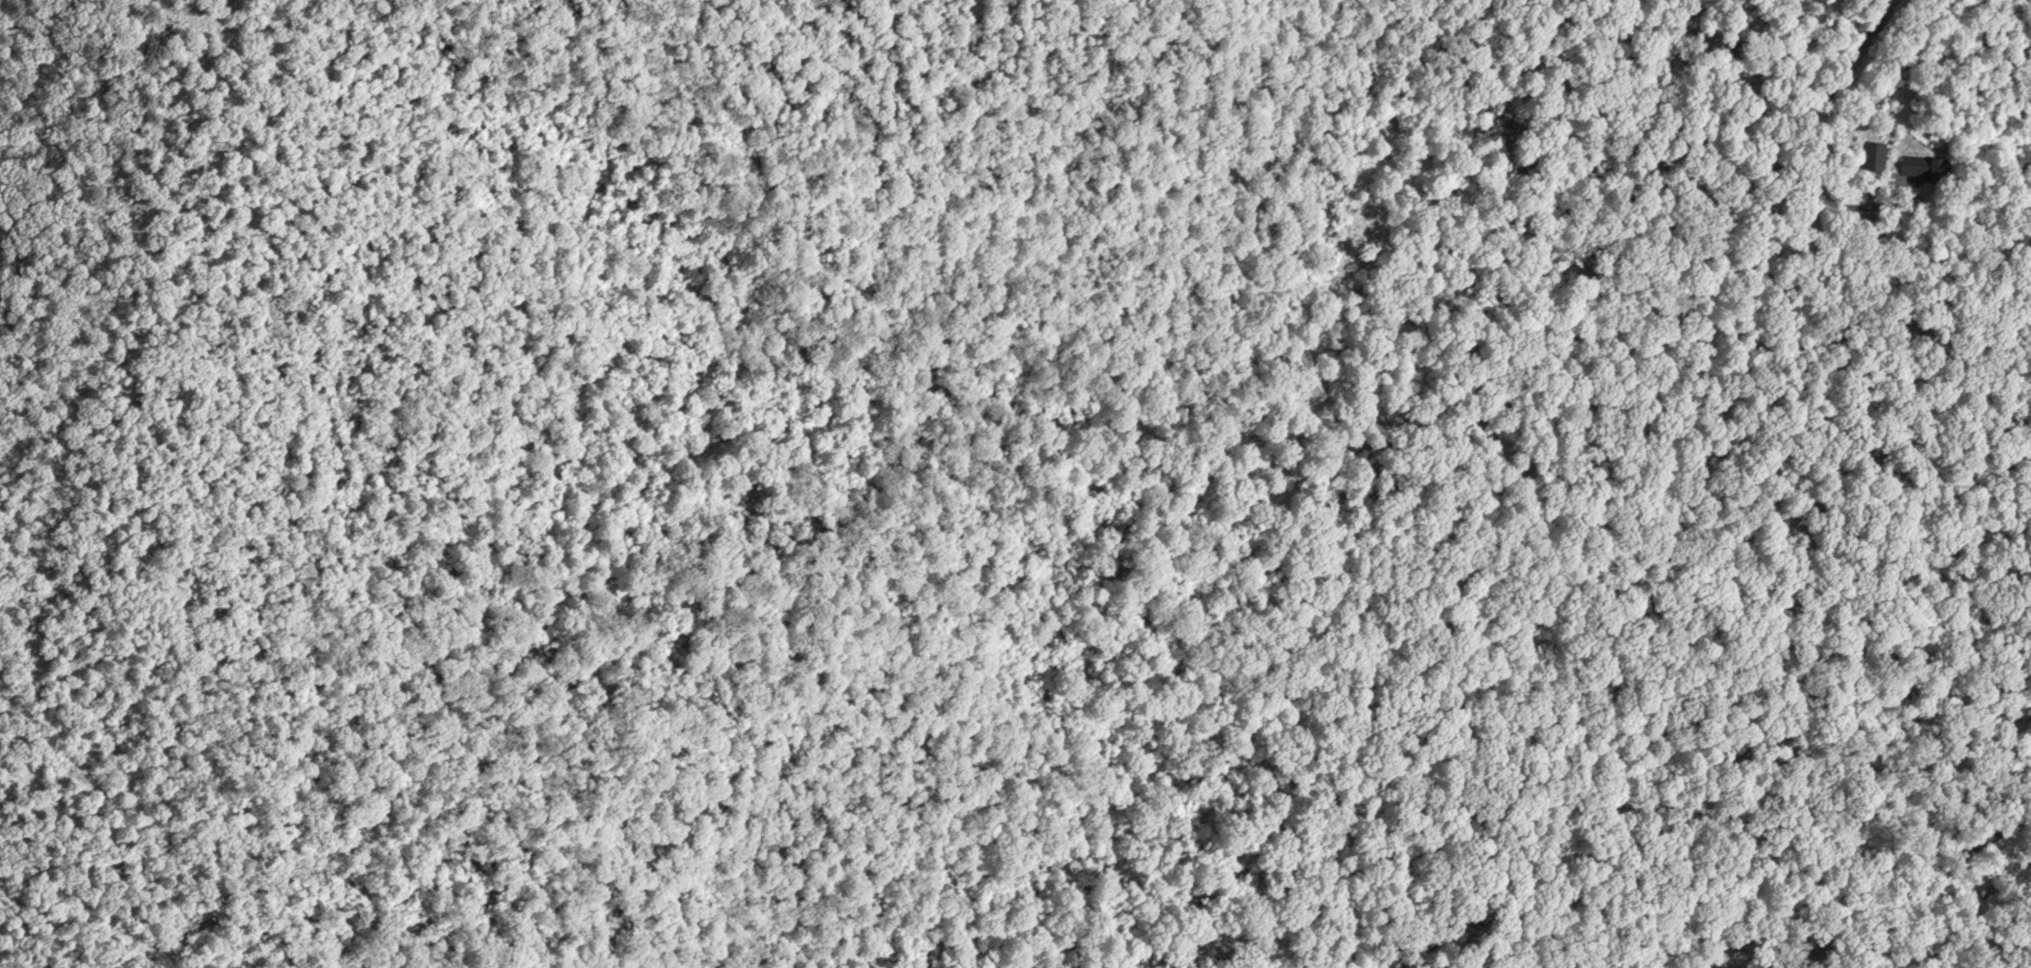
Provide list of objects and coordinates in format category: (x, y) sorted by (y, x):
road: (1836, 87)
building: (1875, 153)
building: (1922, 164)
road: (1831, 203)
road: (1930, 892)

